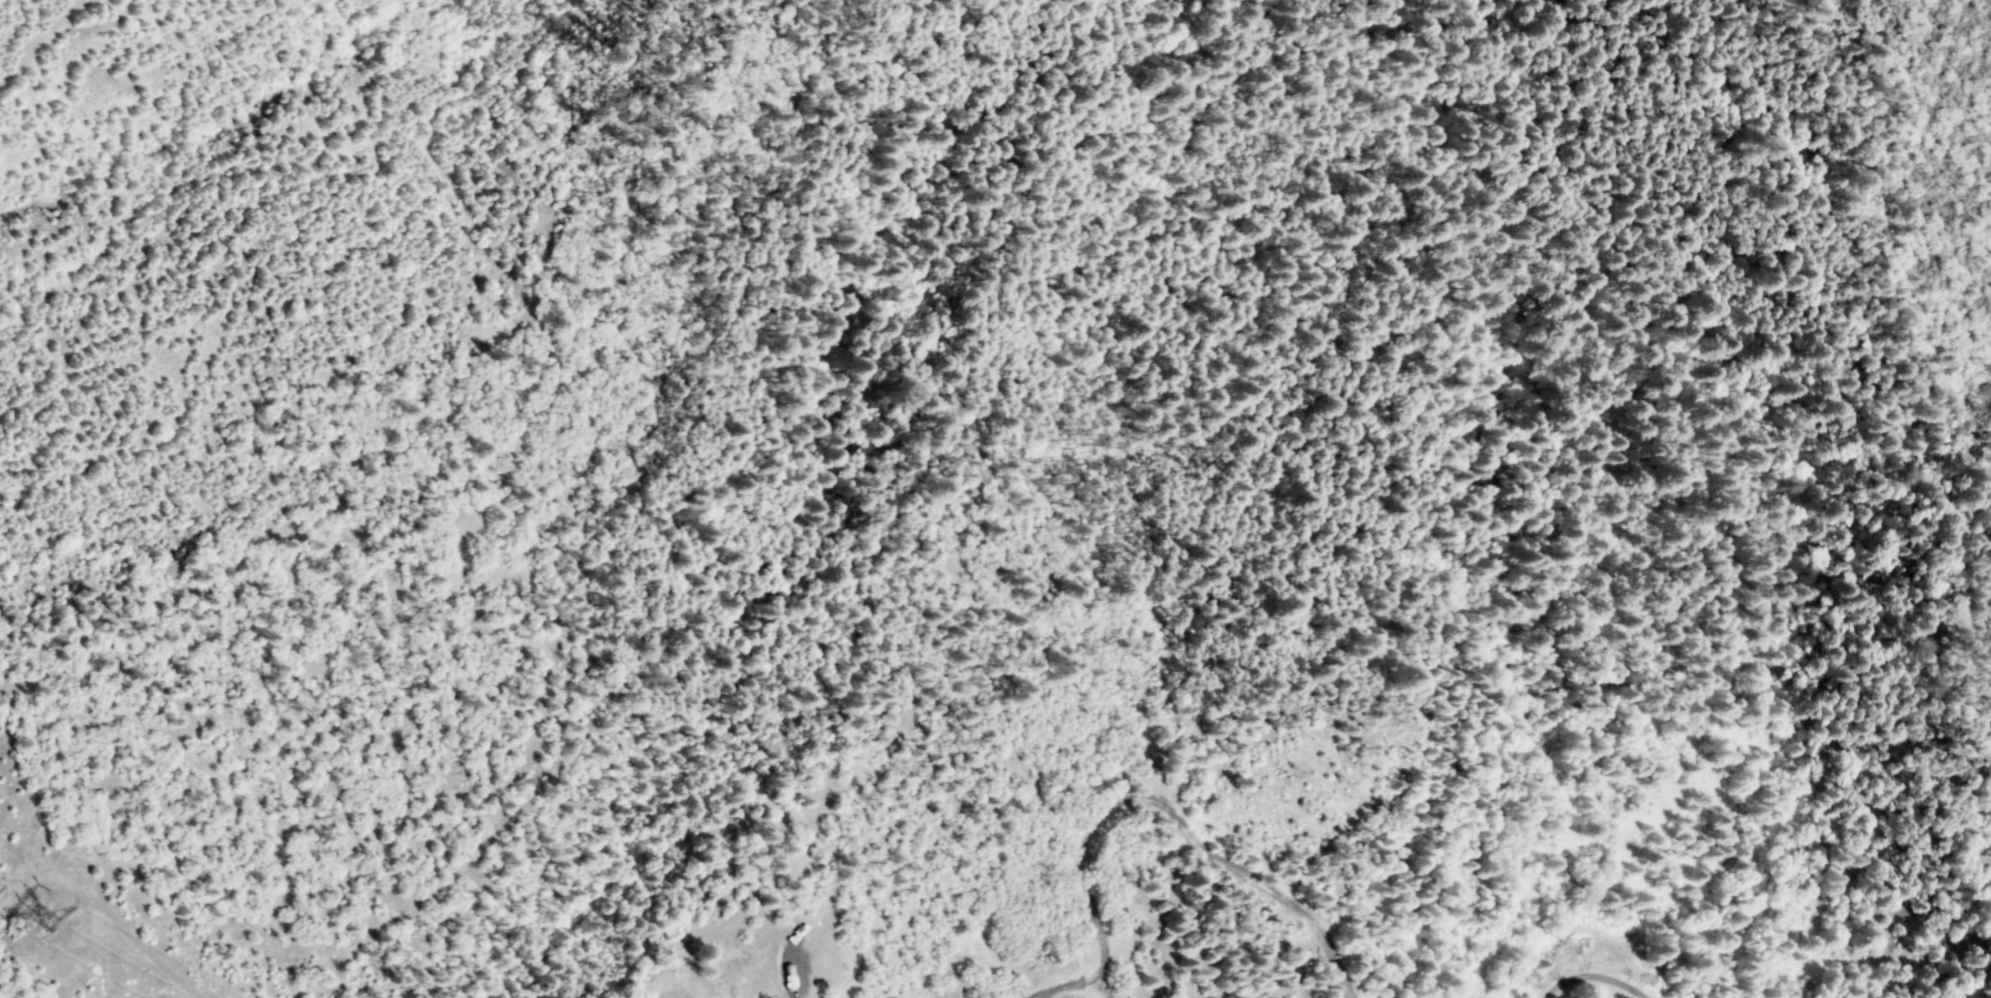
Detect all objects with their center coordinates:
power tower: (46, 915)

